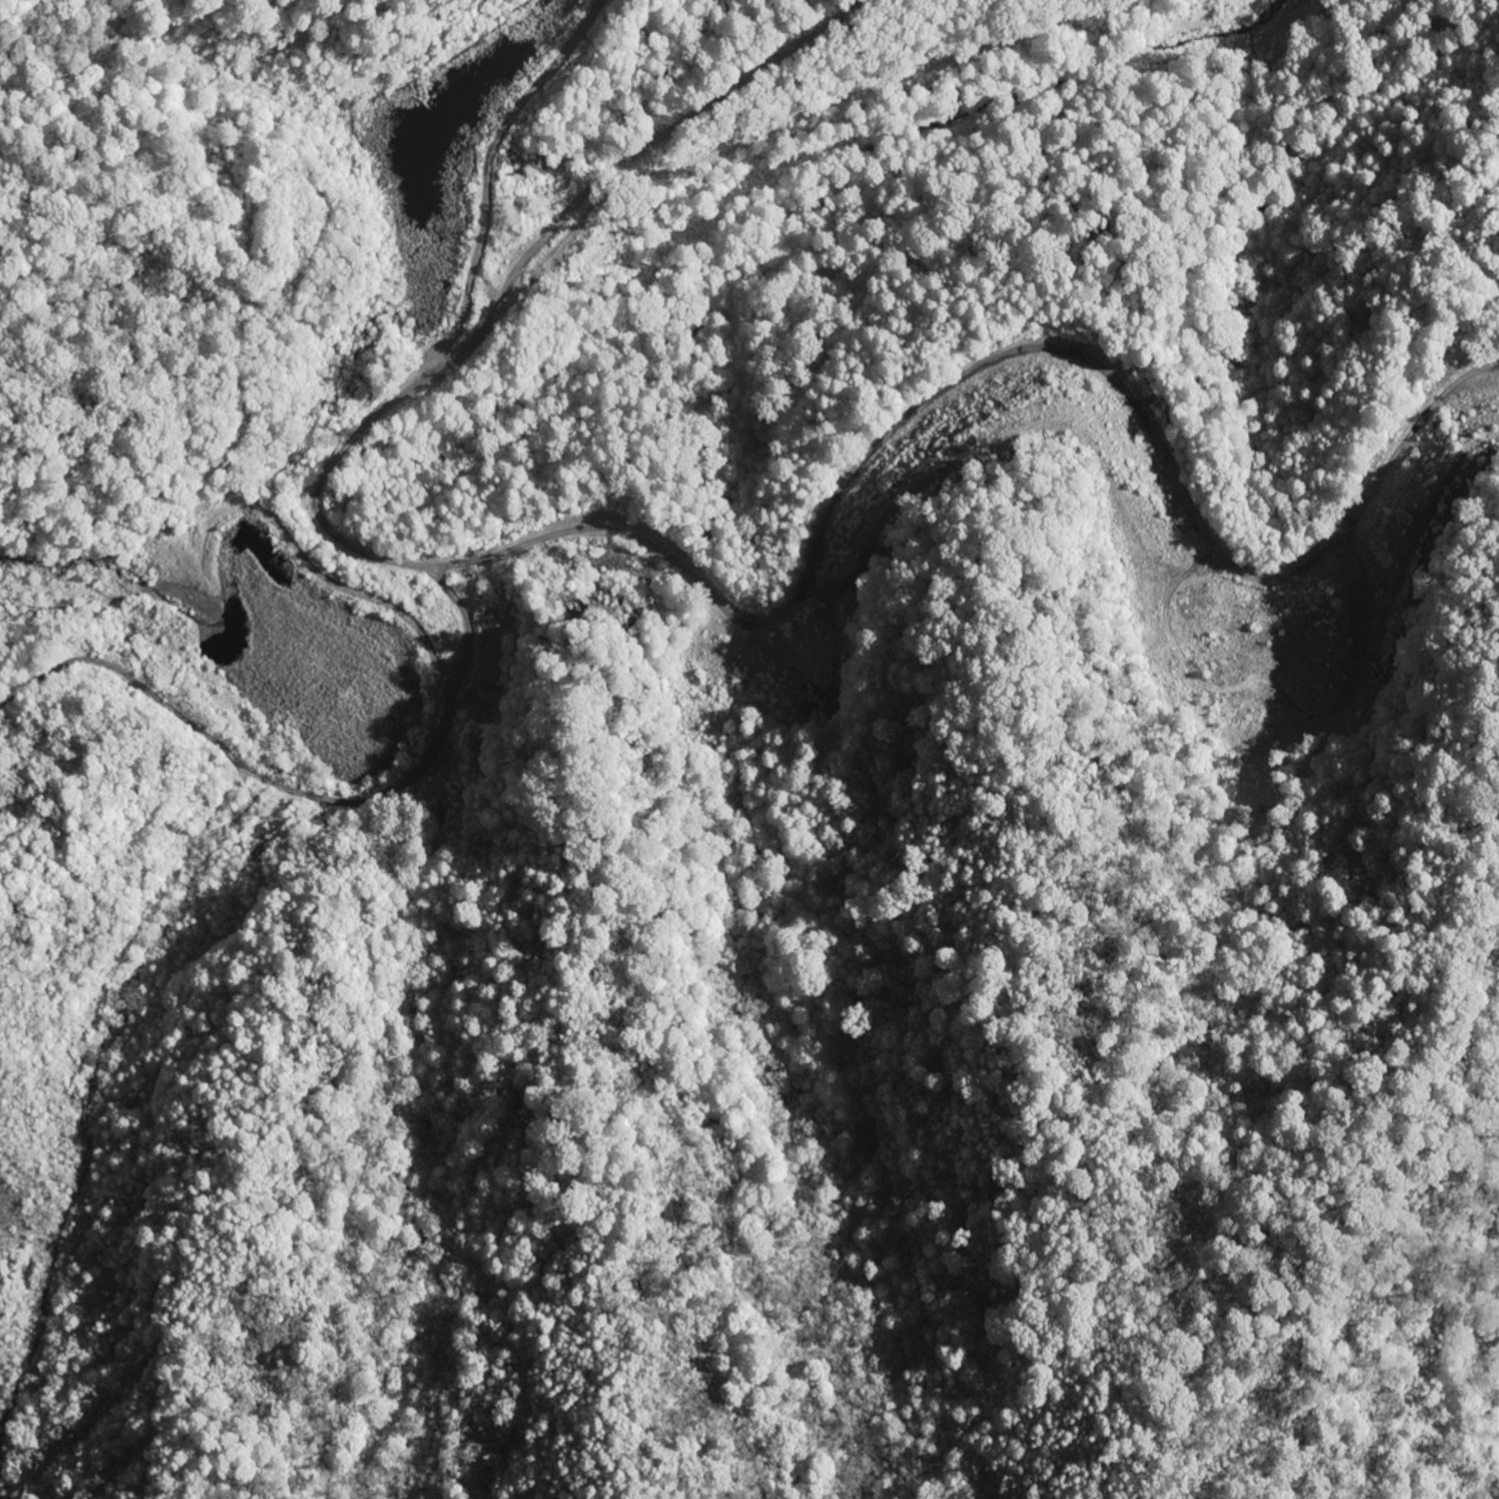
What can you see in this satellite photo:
road: (693, 565)

